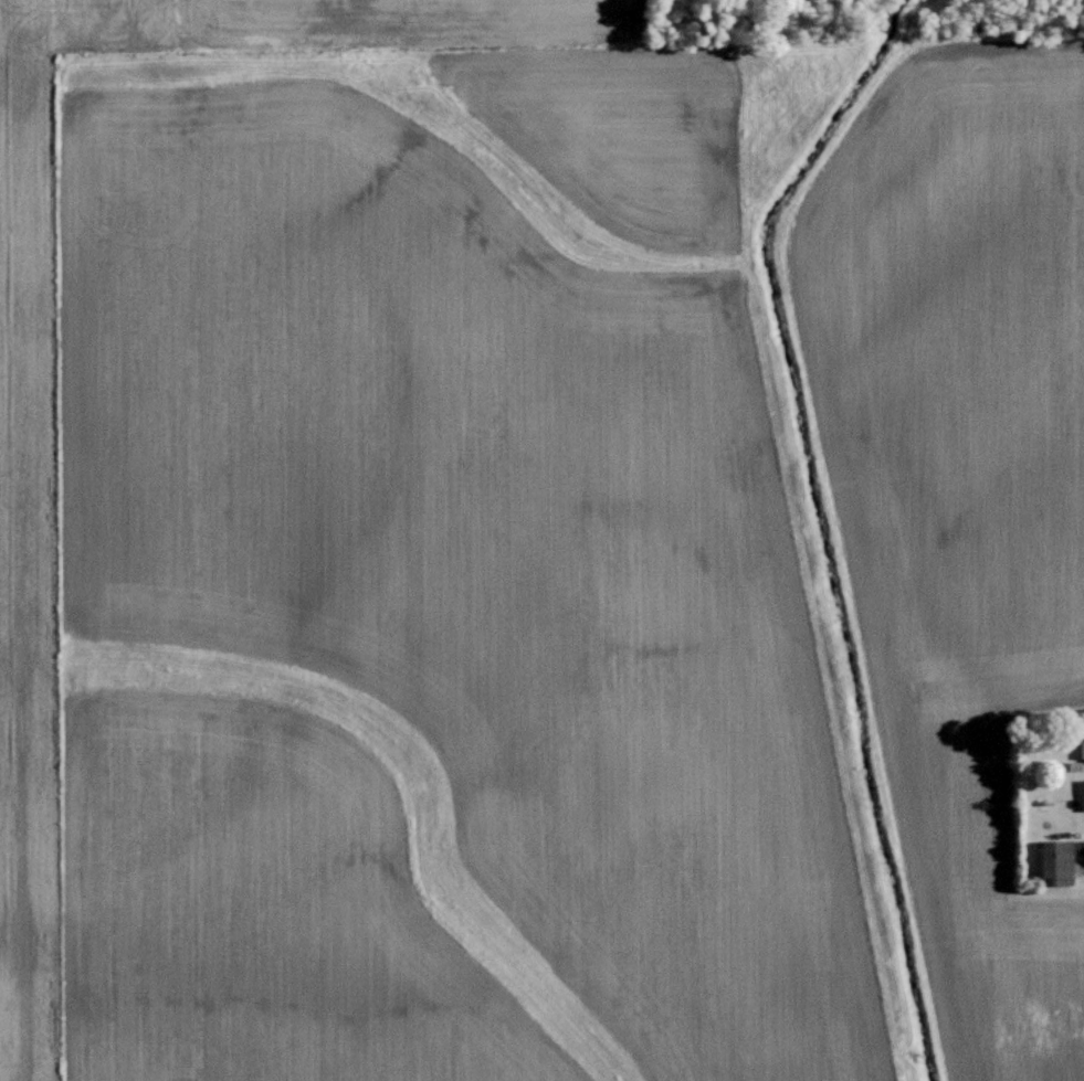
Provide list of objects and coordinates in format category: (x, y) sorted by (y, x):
building: (1081, 749)
building: (1082, 794)
building: (1054, 862)

